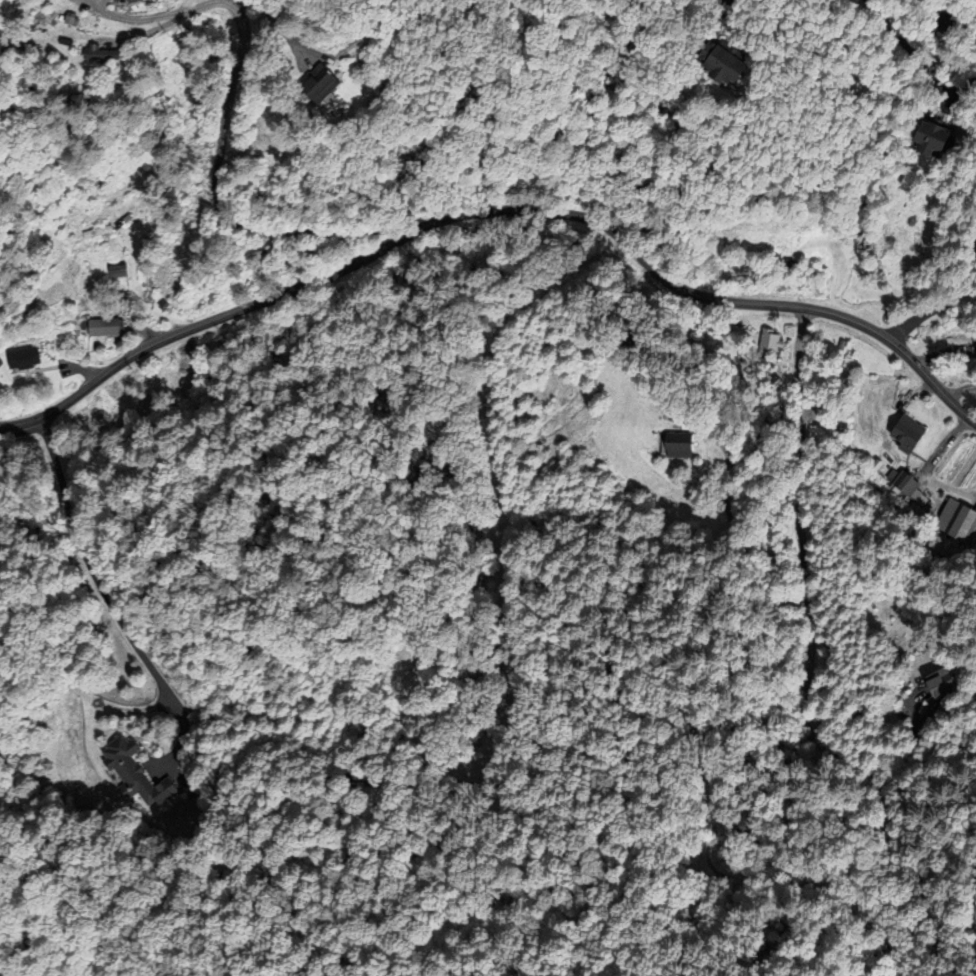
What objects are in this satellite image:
building: (353, 46)
building: (84, 50)
road: (916, 56)
building: (709, 61)
building: (313, 86)
building: (921, 137)
road: (215, 194)
road: (497, 210)
building: (98, 233)
building: (785, 266)
building: (115, 271)
road: (945, 303)
building: (102, 327)
building: (767, 343)
building: (21, 359)
road: (960, 389)
building: (904, 434)
building: (674, 450)
building: (956, 522)
road: (111, 607)
road: (811, 629)
building: (935, 687)
building: (131, 776)
road: (975, 891)

